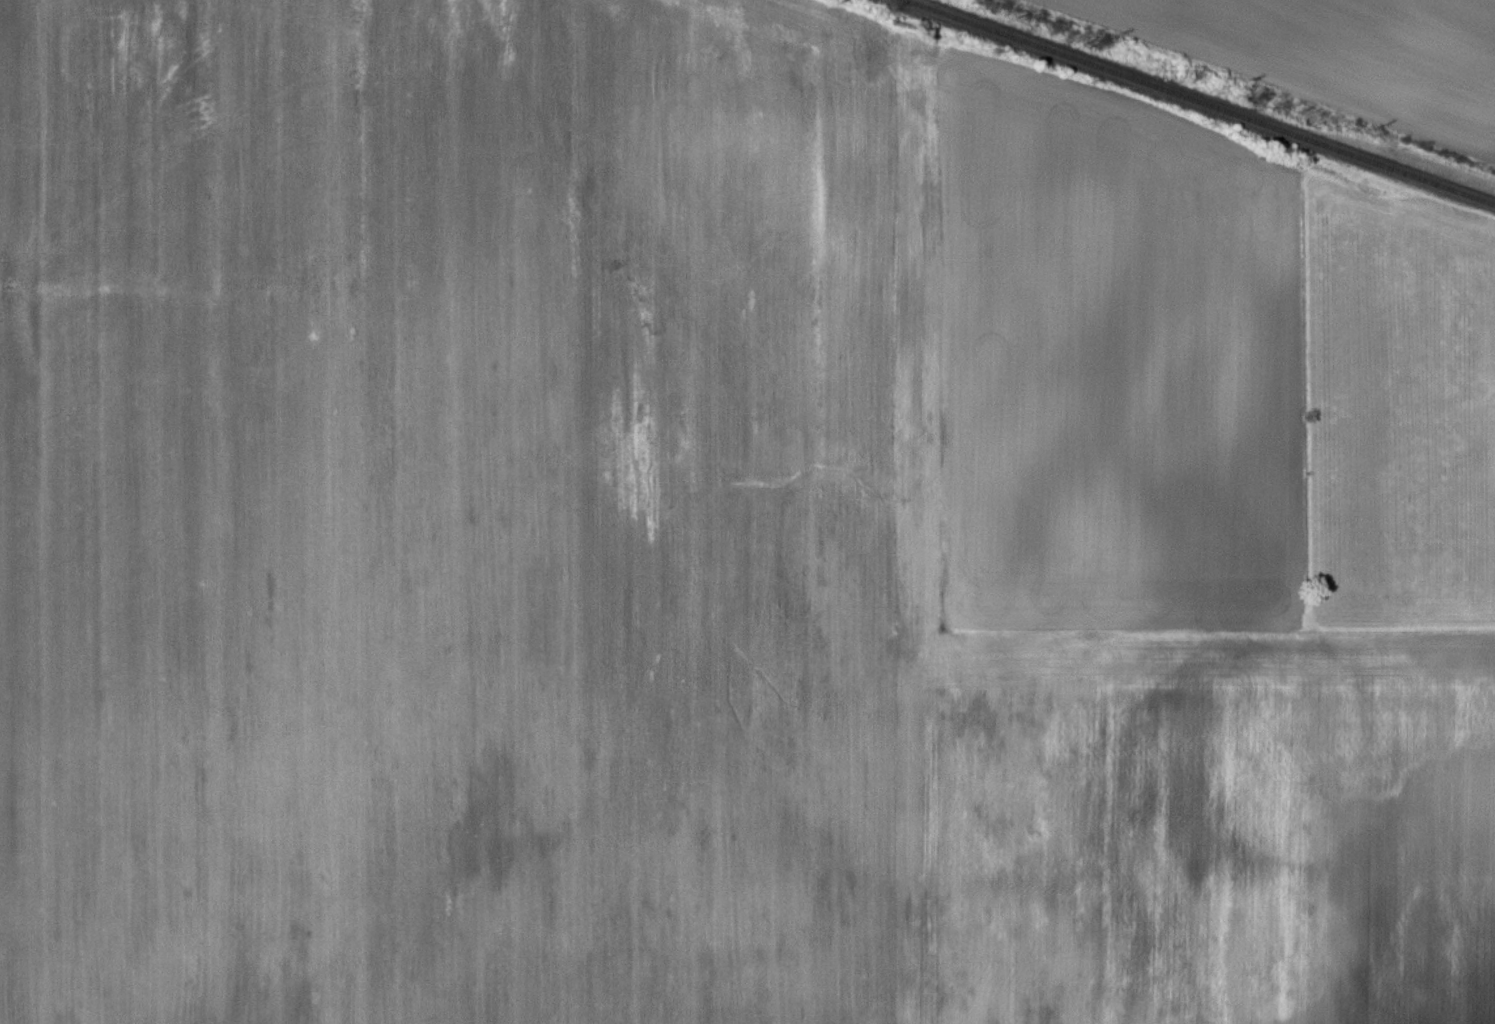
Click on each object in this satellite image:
railway: (1201, 100)

